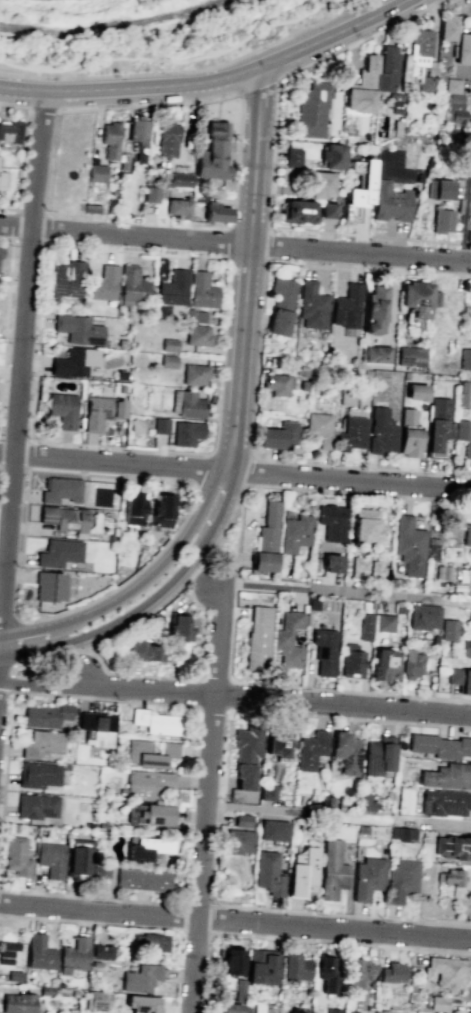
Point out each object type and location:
wastewater plant: (63, 4)
road: (106, 20)
road: (354, 22)
railway: (114, 25)
building: (455, 39)
park: (168, 42)
building: (420, 46)
road: (279, 56)
road: (171, 60)
road: (211, 60)
road: (189, 69)
building: (386, 69)
road: (31, 73)
road: (256, 84)
building: (426, 84)
building: (452, 85)
road: (127, 86)
building: (360, 87)
building: (395, 102)
road: (145, 105)
road: (12, 106)
building: (311, 108)
road: (38, 109)
building: (455, 109)
building: (8, 131)
building: (136, 136)
building: (164, 138)
building: (107, 139)
building: (212, 152)
building: (332, 156)
building: (292, 157)
road: (19, 158)
building: (121, 160)
road: (236, 160)
road: (270, 164)
building: (94, 171)
building: (288, 175)
building: (175, 178)
building: (2, 179)
building: (316, 183)
building: (357, 189)
building: (439, 189)
building: (150, 194)
building: (198, 197)
road: (466, 198)
building: (389, 201)
building: (109, 206)
building: (178, 206)
building: (90, 208)
building: (327, 209)
building: (295, 211)
building: (215, 212)
building: (441, 220)
road: (14, 225)
building: (468, 235)
road: (29, 242)
road: (235, 242)
road: (227, 243)
road: (264, 248)
building: (0, 252)
road: (44, 254)
road: (249, 269)
building: (66, 279)
building: (104, 283)
building: (132, 284)
building: (172, 288)
building: (201, 290)
building: (416, 297)
building: (435, 298)
building: (280, 303)
building: (312, 305)
building: (347, 305)
building: (375, 309)
road: (6, 313)
building: (194, 315)
building: (77, 329)
building: (197, 335)
building: (122, 343)
building: (169, 344)
building: (377, 353)
building: (410, 356)
building: (465, 358)
building: (167, 361)
building: (74, 362)
road: (21, 363)
building: (300, 370)
building: (194, 374)
building: (405, 375)
building: (277, 383)
building: (305, 385)
building: (121, 388)
building: (415, 391)
building: (461, 394)
building: (187, 404)
building: (62, 409)
building: (101, 411)
building: (437, 423)
building: (161, 425)
building: (319, 428)
building: (460, 429)
building: (380, 431)
building: (186, 433)
building: (350, 434)
building: (408, 434)
building: (277, 435)
building: (467, 450)
road: (268, 458)
road: (235, 470)
road: (202, 471)
road: (252, 471)
building: (60, 489)
building: (133, 508)
building: (162, 510)
road: (222, 514)
building: (64, 517)
building: (331, 522)
building: (366, 526)
road: (223, 527)
road: (239, 527)
building: (293, 531)
building: (466, 535)
building: (266, 539)
building: (408, 546)
building: (58, 553)
road: (171, 554)
building: (330, 562)
road: (21, 567)
building: (364, 568)
road: (202, 573)
building: (50, 585)
road: (342, 591)
road: (152, 599)
building: (312, 604)
building: (365, 605)
building: (399, 609)
building: (423, 616)
building: (469, 617)
road: (10, 623)
building: (384, 623)
road: (45, 626)
building: (365, 627)
building: (179, 628)
building: (448, 629)
road: (1, 635)
building: (258, 635)
building: (288, 639)
road: (49, 646)
building: (465, 646)
road: (1, 648)
building: (324, 650)
building: (142, 651)
road: (0, 656)
building: (351, 661)
building: (410, 663)
building: (383, 664)
road: (6, 665)
road: (186, 677)
road: (214, 678)
building: (459, 678)
road: (11, 683)
road: (41, 684)
road: (293, 685)
road: (5, 691)
road: (197, 692)
road: (230, 695)
road: (266, 698)
road: (193, 705)
road: (212, 707)
building: (46, 715)
road: (350, 719)
building: (157, 721)
building: (96, 728)
building: (277, 740)
building: (41, 744)
building: (439, 746)
building: (311, 750)
building: (346, 751)
building: (149, 753)
building: (245, 754)
building: (377, 755)
road: (224, 765)
road: (5, 771)
building: (38, 774)
building: (446, 776)
building: (149, 786)
building: (268, 792)
building: (180, 794)
road: (208, 798)
building: (366, 802)
building: (444, 802)
building: (36, 805)
road: (253, 808)
building: (155, 814)
road: (346, 817)
building: (243, 820)
building: (100, 823)
road: (432, 823)
building: (87, 824)
building: (363, 829)
building: (274, 830)
building: (403, 833)
building: (237, 842)
building: (452, 846)
building: (147, 850)
building: (16, 856)
building: (77, 858)
building: (50, 859)
building: (302, 871)
building: (332, 871)
building: (99, 872)
building: (268, 873)
building: (451, 877)
building: (367, 878)
building: (142, 879)
building: (401, 879)
road: (90, 896)
road: (196, 901)
road: (341, 914)
road: (181, 915)
road: (211, 919)
road: (235, 920)
road: (131, 925)
road: (195, 931)
building: (150, 941)
road: (340, 943)
building: (101, 951)
building: (9, 952)
building: (39, 952)
building: (73, 955)
building: (229, 960)
building: (95, 963)
building: (262, 966)
building: (294, 967)
building: (359, 970)
building: (445, 971)
building: (325, 972)
building: (392, 972)
building: (14, 975)
building: (140, 978)
building: (238, 990)
building: (46, 991)
building: (74, 993)
building: (96, 1000)
building: (18, 1003)
building: (142, 1003)
building: (438, 1003)
building: (232, 1008)
building: (262, 1008)
building: (70, 1010)
building: (332, 1010)
building: (382, 1011)
building: (352, 1012)

